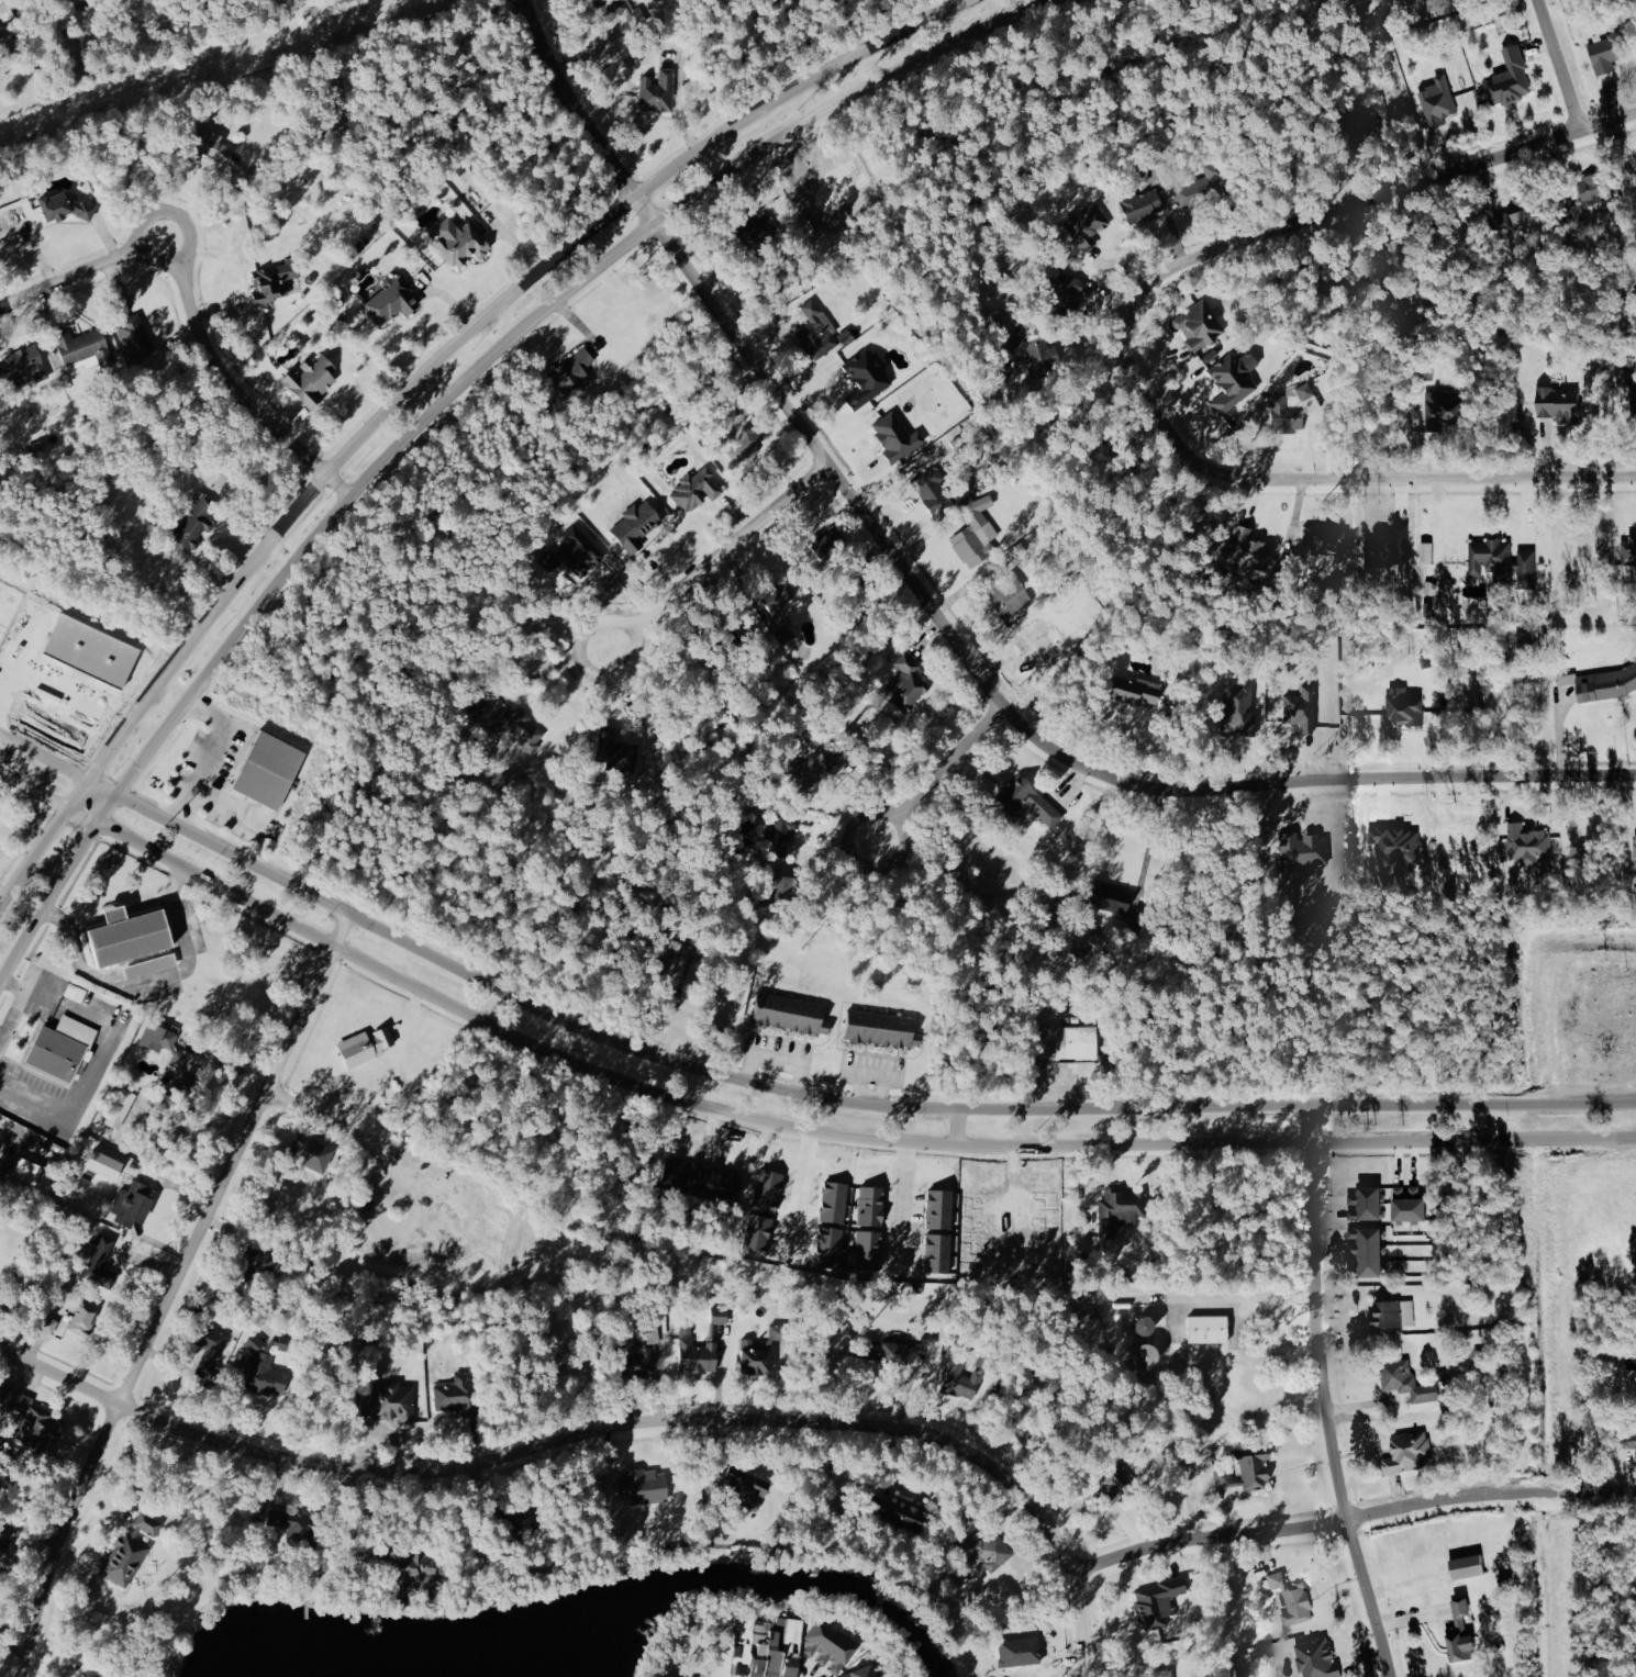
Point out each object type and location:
building: (617, 10)
building: (73, 15)
building: (10, 36)
building: (1607, 52)
road: (1559, 64)
building: (615, 71)
building: (1510, 78)
building: (658, 90)
building: (1439, 99)
building: (1371, 107)
road: (678, 108)
building: (210, 146)
building: (850, 183)
building: (1200, 186)
building: (1593, 188)
building: (1140, 204)
building: (64, 206)
building: (1525, 209)
building: (1087, 225)
building: (755, 235)
building: (457, 243)
road: (520, 244)
building: (1394, 265)
building: (272, 281)
building: (1065, 293)
building: (390, 299)
road: (453, 299)
road: (191, 304)
road: (577, 320)
building: (1200, 325)
building: (816, 327)
road: (475, 328)
building: (135, 334)
building: (1016, 336)
road: (1127, 340)
building: (82, 346)
building: (25, 362)
building: (574, 369)
building: (309, 380)
building: (866, 380)
building: (1231, 380)
road: (443, 403)
building: (1557, 405)
building: (1300, 409)
building: (1446, 409)
road: (288, 418)
building: (893, 436)
building: (746, 445)
building: (933, 490)
building: (698, 491)
road: (246, 513)
building: (194, 518)
building: (635, 528)
building: (975, 530)
building: (837, 550)
building: (1248, 550)
building: (1628, 552)
building: (1428, 554)
road: (725, 557)
building: (1493, 560)
building: (1526, 566)
building: (777, 594)
building: (1012, 596)
road: (946, 627)
building: (784, 635)
building: (720, 641)
building: (757, 644)
building: (91, 645)
road: (553, 667)
road: (42, 671)
building: (1607, 683)
building: (908, 684)
building: (1136, 690)
building: (1405, 707)
building: (481, 708)
building: (1301, 711)
building: (1238, 712)
building: (521, 728)
road: (215, 750)
road: (44, 757)
building: (269, 770)
road: (942, 772)
building: (806, 773)
parking lot: (224, 782)
road: (35, 787)
building: (1024, 802)
road: (232, 806)
building: (782, 832)
building: (1400, 842)
road: (44, 843)
road: (1149, 846)
building: (1531, 846)
building: (1306, 850)
building: (1634, 851)
building: (776, 890)
building: (1109, 897)
road: (2, 899)
road: (123, 913)
building: (115, 915)
building: (130, 938)
building: (151, 965)
road: (152, 982)
road: (15, 983)
road: (672, 999)
road: (19, 1004)
building: (789, 1011)
building: (879, 1028)
building: (157, 1039)
building: (1062, 1043)
building: (365, 1047)
building: (60, 1048)
road: (778, 1053)
building: (186, 1069)
road: (873, 1074)
road: (888, 1076)
road: (85, 1093)
road: (827, 1097)
building: (120, 1108)
road: (958, 1125)
road: (817, 1128)
building: (310, 1153)
building: (102, 1166)
building: (26, 1170)
building: (85, 1180)
building: (700, 1181)
road: (1090, 1188)
road: (801, 1190)
building: (766, 1192)
road: (903, 1200)
building: (127, 1203)
building: (833, 1203)
road: (146, 1205)
building: (1368, 1205)
building: (1412, 1205)
building: (869, 1207)
building: (938, 1210)
building: (1123, 1210)
road: (1012, 1211)
building: (976, 1212)
building: (1045, 1212)
building: (756, 1236)
building: (827, 1249)
building: (1370, 1251)
building: (867, 1252)
building: (936, 1254)
building: (976, 1259)
building: (1046, 1260)
building: (100, 1261)
road: (172, 1288)
road: (1193, 1296)
building: (1388, 1313)
building: (719, 1315)
building: (35, 1318)
building: (81, 1322)
building: (47, 1326)
building: (1209, 1328)
building: (649, 1329)
building: (779, 1332)
building: (920, 1335)
road: (25, 1343)
building: (209, 1343)
road: (35, 1349)
building: (887, 1351)
building: (697, 1355)
building: (753, 1356)
road: (1255, 1361)
building: (632, 1362)
building: (264, 1369)
road: (24, 1372)
road: (721, 1372)
building: (960, 1380)
building: (1407, 1380)
road: (1323, 1394)
building: (459, 1396)
building: (393, 1401)
building: (27, 1421)
road: (606, 1427)
building: (1409, 1452)
building: (1202, 1466)
building: (1253, 1466)
building: (1110, 1478)
building: (1224, 1478)
building: (746, 1479)
building: (647, 1486)
road: (911, 1491)
building: (832, 1503)
building: (900, 1514)
building: (259, 1516)
building: (711, 1519)
road: (1354, 1519)
building: (148, 1523)
building: (297, 1523)
building: (517, 1529)
building: (3, 1546)
building: (984, 1550)
building: (124, 1558)
building: (405, 1563)
building: (1467, 1567)
building: (1155, 1602)
building: (1296, 1606)
building: (1461, 1630)
building: (745, 1642)
building: (828, 1646)
building: (776, 1647)
building: (792, 1647)
building: (760, 1648)
building: (1017, 1652)
building: (1316, 1658)
building: (1153, 1672)
building: (860, 1673)
building: (86, 1676)

